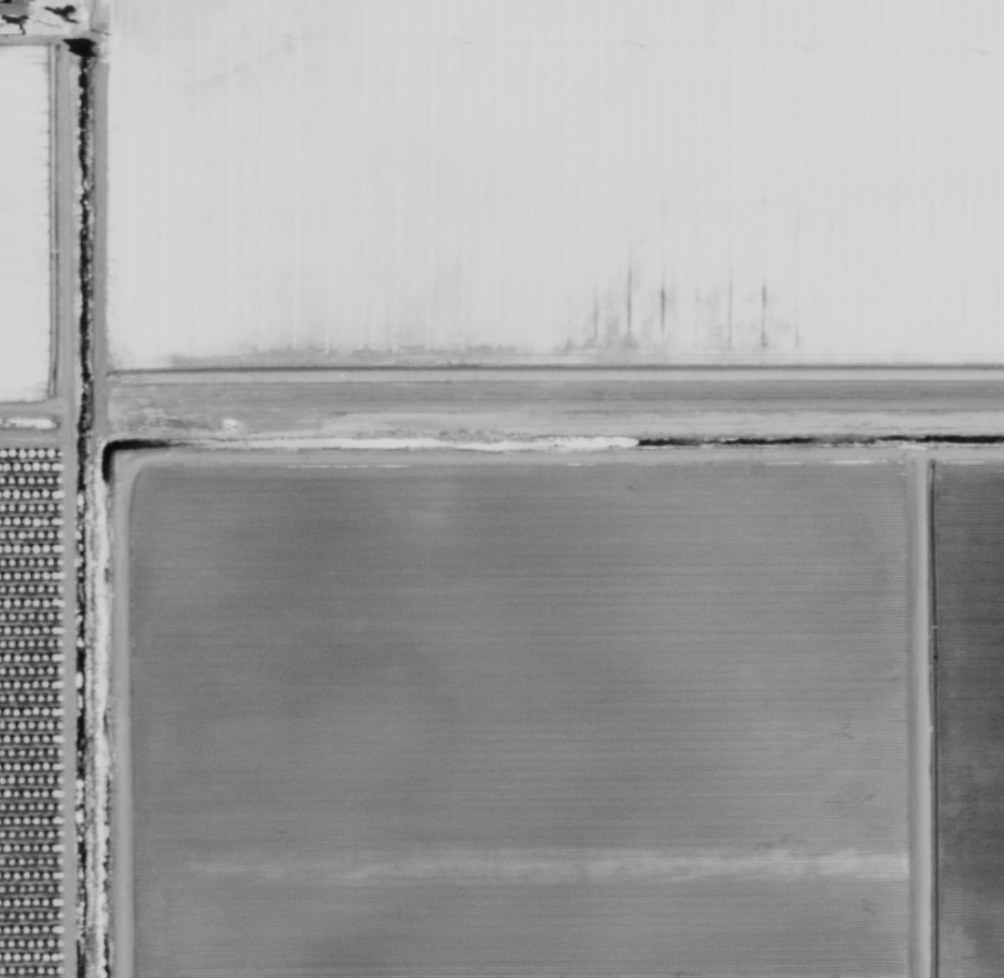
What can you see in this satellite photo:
building: (14, 8)
road: (557, 395)
crop: (504, 491)

